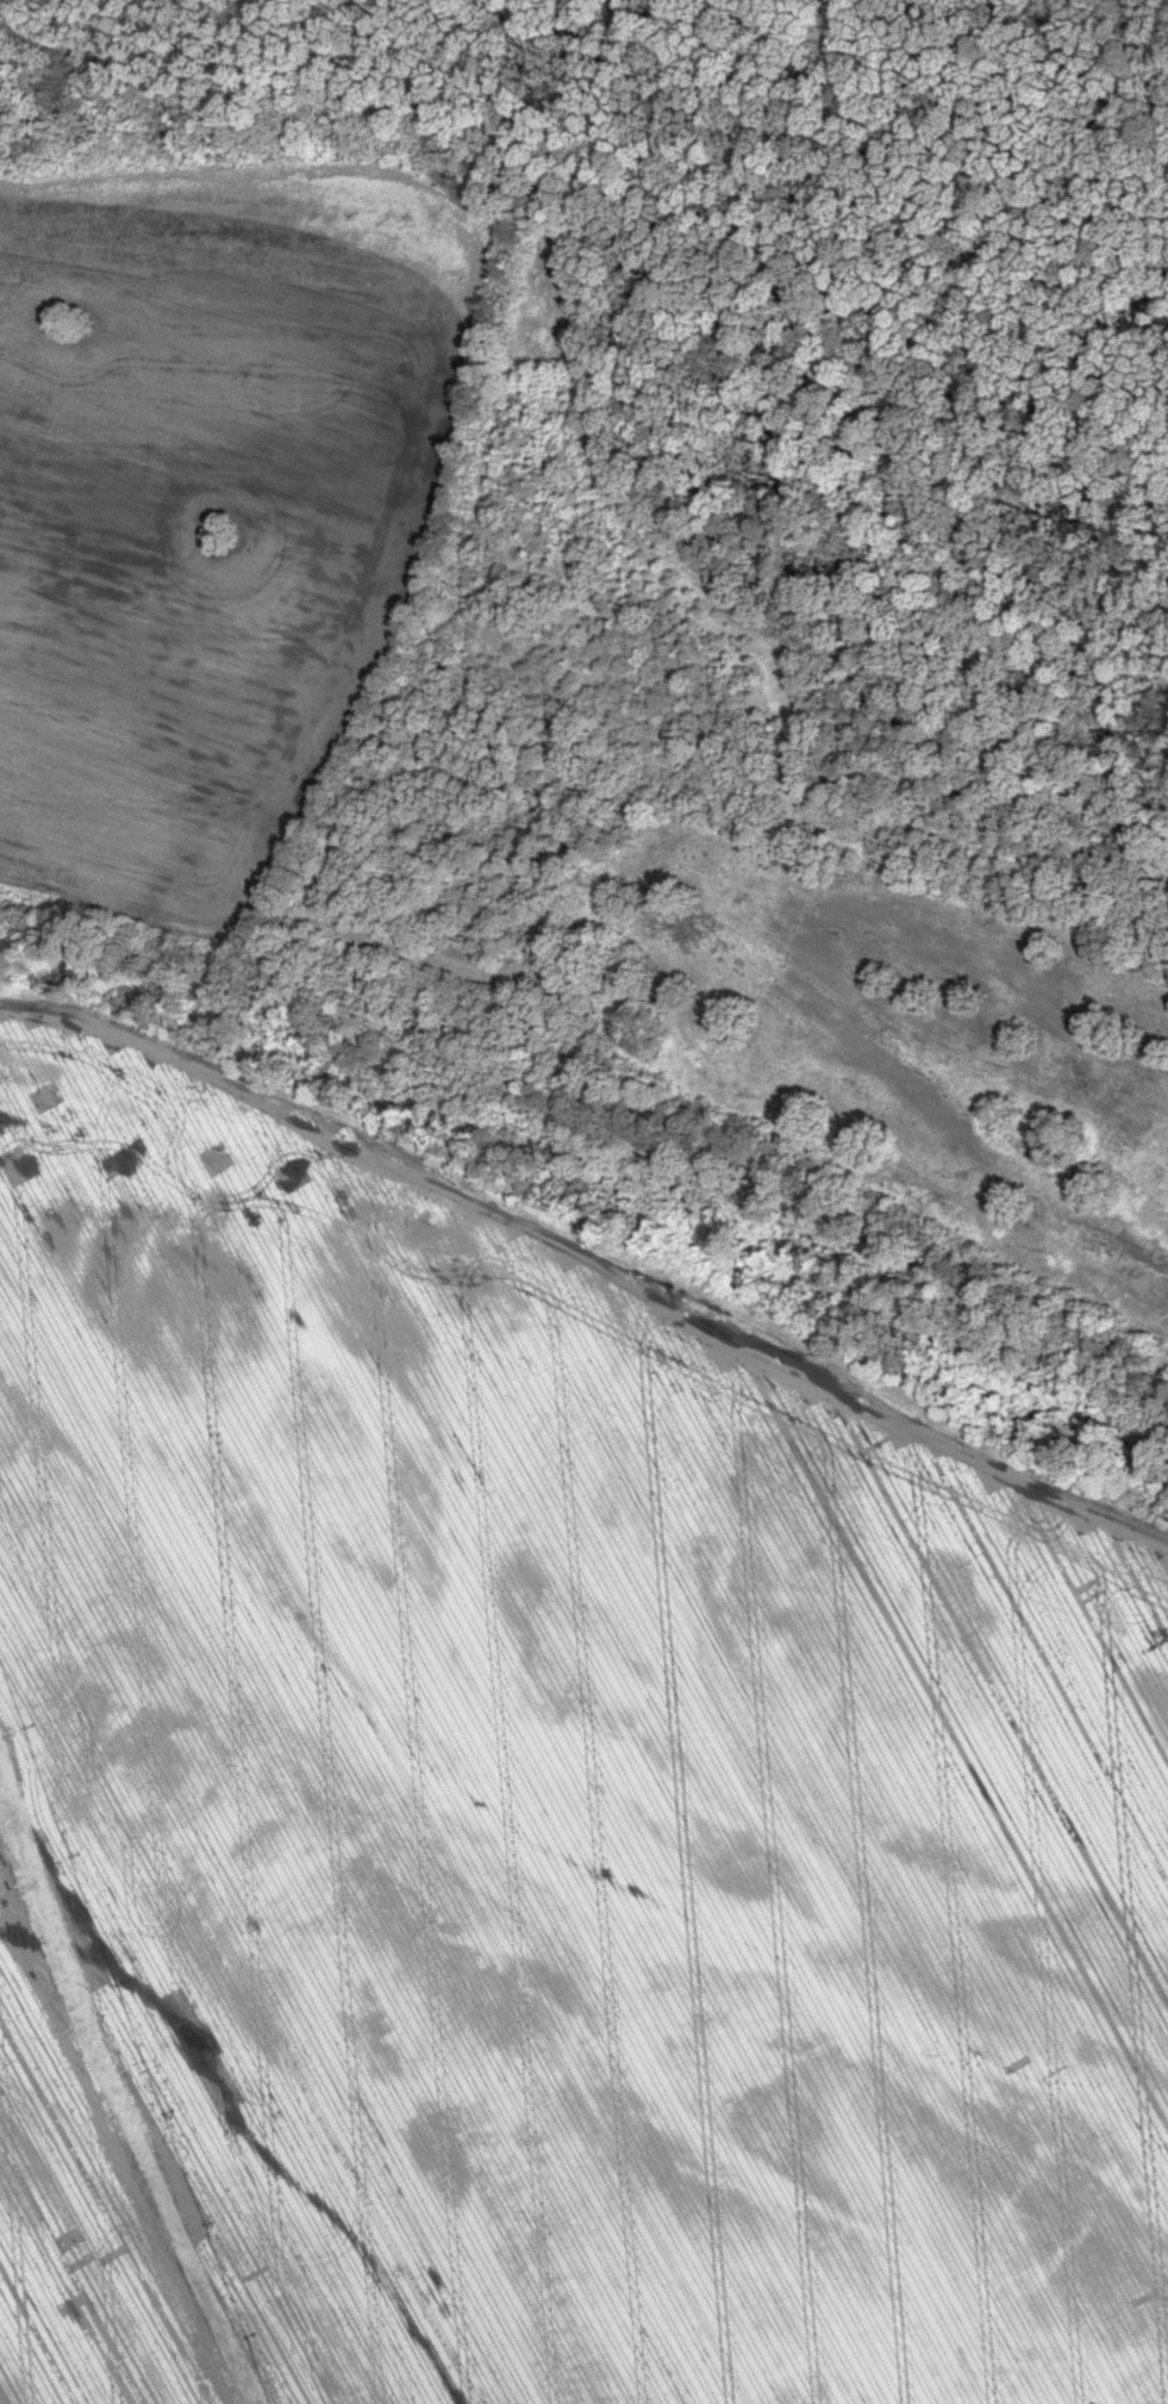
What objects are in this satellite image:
road: (587, 1258)
road: (432, 1898)

